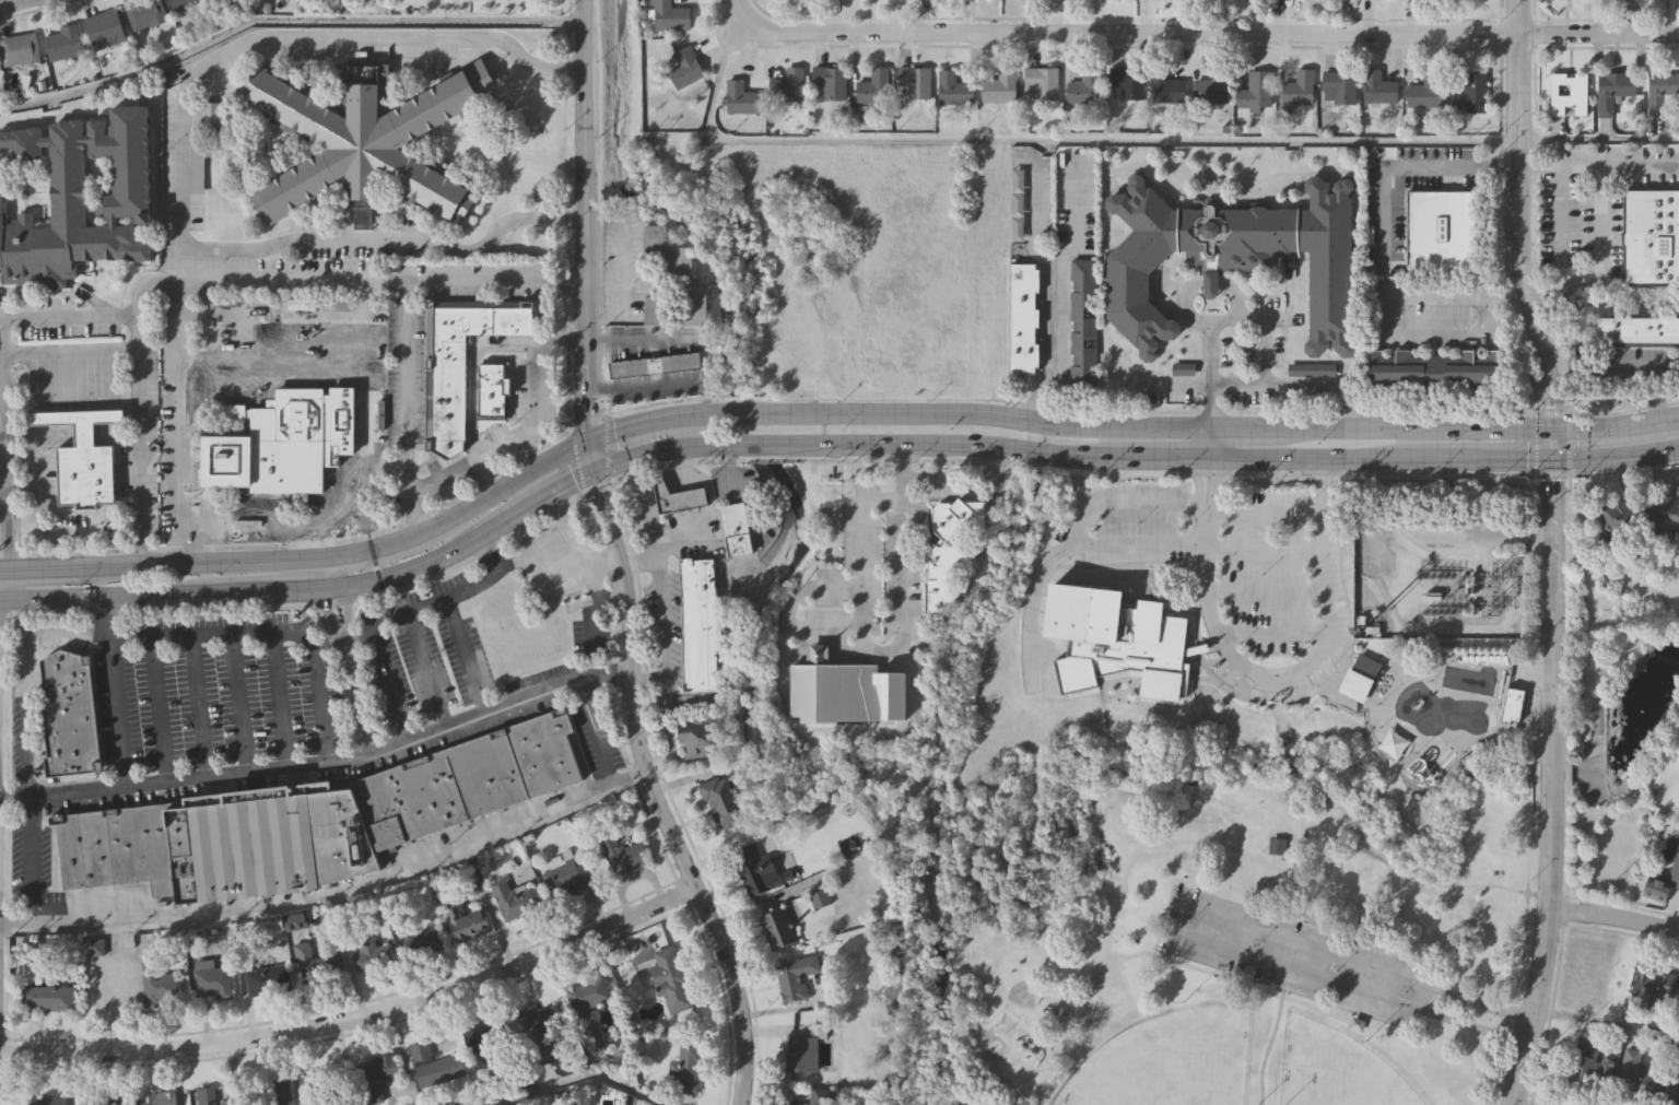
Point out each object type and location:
building: (1385, 0)
road: (8, 1)
building: (184, 3)
building: (144, 13)
building: (671, 16)
road: (282, 21)
building: (104, 28)
road: (1199, 30)
building: (63, 42)
building: (21, 48)
building: (685, 68)
building: (830, 82)
building: (915, 82)
building: (1127, 83)
building: (794, 84)
building: (1042, 85)
building: (873, 87)
building: (1000, 87)
building: (1084, 89)
building: (1165, 89)
building: (1212, 89)
building: (1339, 89)
building: (1379, 89)
building: (954, 90)
building: (1299, 90)
building: (1613, 91)
building: (1254, 92)
building: (1660, 92)
building: (1425, 93)
building: (1471, 94)
building: (1569, 94)
building: (741, 103)
building: (212, 114)
building: (367, 139)
road: (1130, 140)
road: (181, 161)
building: (199, 161)
road: (1538, 167)
road: (1453, 168)
building: (101, 184)
road: (1559, 184)
building: (30, 187)
building: (80, 198)
road: (1383, 219)
building: (1442, 228)
building: (1651, 235)
road: (583, 238)
road: (1597, 239)
building: (1233, 259)
road: (622, 265)
building: (677, 273)
road: (329, 279)
road: (1062, 286)
road: (1045, 290)
road: (1505, 296)
building: (657, 311)
road: (68, 314)
road: (273, 314)
building: (1024, 318)
building: (1083, 322)
road: (1261, 330)
building: (1637, 331)
road: (1389, 338)
road: (638, 339)
building: (457, 356)
road: (273, 360)
building: (654, 365)
road: (1602, 368)
building: (1310, 369)
road: (365, 372)
building: (1432, 372)
road: (638, 380)
road: (1236, 385)
road: (408, 387)
road: (137, 388)
building: (491, 391)
road: (824, 405)
building: (79, 422)
road: (164, 423)
traffic signals: (1549, 424)
road: (1210, 425)
road: (1, 434)
road: (512, 436)
building: (284, 442)
traffic signals: (585, 442)
road: (991, 442)
road: (2, 455)
traffic signals: (1550, 462)
road: (387, 465)
road: (485, 474)
building: (86, 475)
traffic signals: (590, 477)
road: (964, 477)
road: (1, 496)
building: (677, 496)
road: (1146, 501)
building: (1665, 515)
building: (1615, 520)
road: (46, 530)
building: (736, 530)
road: (1137, 544)
building: (951, 552)
road: (1260, 552)
road: (1549, 552)
building: (556, 566)
road: (329, 569)
power substation: (1441, 573)
road: (1036, 584)
road: (166, 593)
road: (1265, 593)
road: (795, 603)
building: (1293, 604)
road: (345, 613)
road: (390, 615)
road: (328, 616)
road: (662, 619)
road: (860, 621)
building: (698, 625)
road: (822, 626)
road: (67, 632)
road: (1271, 634)
building: (1115, 639)
building: (817, 653)
road: (466, 657)
road: (847, 657)
road: (817, 658)
road: (1311, 660)
road: (25, 669)
road: (427, 670)
building: (1359, 677)
building: (835, 691)
road: (117, 693)
road: (357, 703)
building: (1512, 704)
water park: (1424, 706)
building: (70, 715)
road: (1277, 718)
road: (594, 733)
building: (696, 737)
road: (23, 750)
road: (1288, 755)
road: (320, 767)
building: (467, 778)
road: (1298, 792)
road: (653, 795)
building: (724, 802)
building: (267, 839)
building: (116, 846)
building: (1276, 846)
road: (1238, 853)
building: (622, 854)
road: (31, 861)
building: (753, 870)
building: (566, 879)
building: (1663, 884)
road: (347, 885)
building: (514, 898)
road: (1311, 904)
road: (1612, 914)
road: (1174, 917)
building: (466, 920)
road: (14, 922)
building: (778, 929)
park: (1246, 939)
building: (424, 943)
building: (95, 947)
building: (368, 951)
parking lot: (1288, 955)
building: (310, 961)
building: (797, 976)
building: (269, 978)
road: (1225, 978)
building: (212, 979)
building: (671, 979)
building: (160, 986)
building: (1653, 988)
building: (589, 994)
building: (48, 997)
road: (1513, 999)
road: (357, 1014)
building: (1678, 1016)
building: (1355, 1023)
road: (1607, 1023)
building: (512, 1039)
road: (1266, 1050)
building: (802, 1053)
park: (1166, 1061)
building: (1590, 1062)
building: (435, 1065)
building: (691, 1065)
park: (1335, 1069)
building: (1632, 1072)
building: (377, 1073)
road: (576, 1075)
building: (332, 1082)
building: (1671, 1086)
building: (270, 1092)
building: (822, 1096)
building: (158, 1097)
building: (211, 1097)
building: (52, 1100)
building: (107, 1100)
building: (791, 1103)

